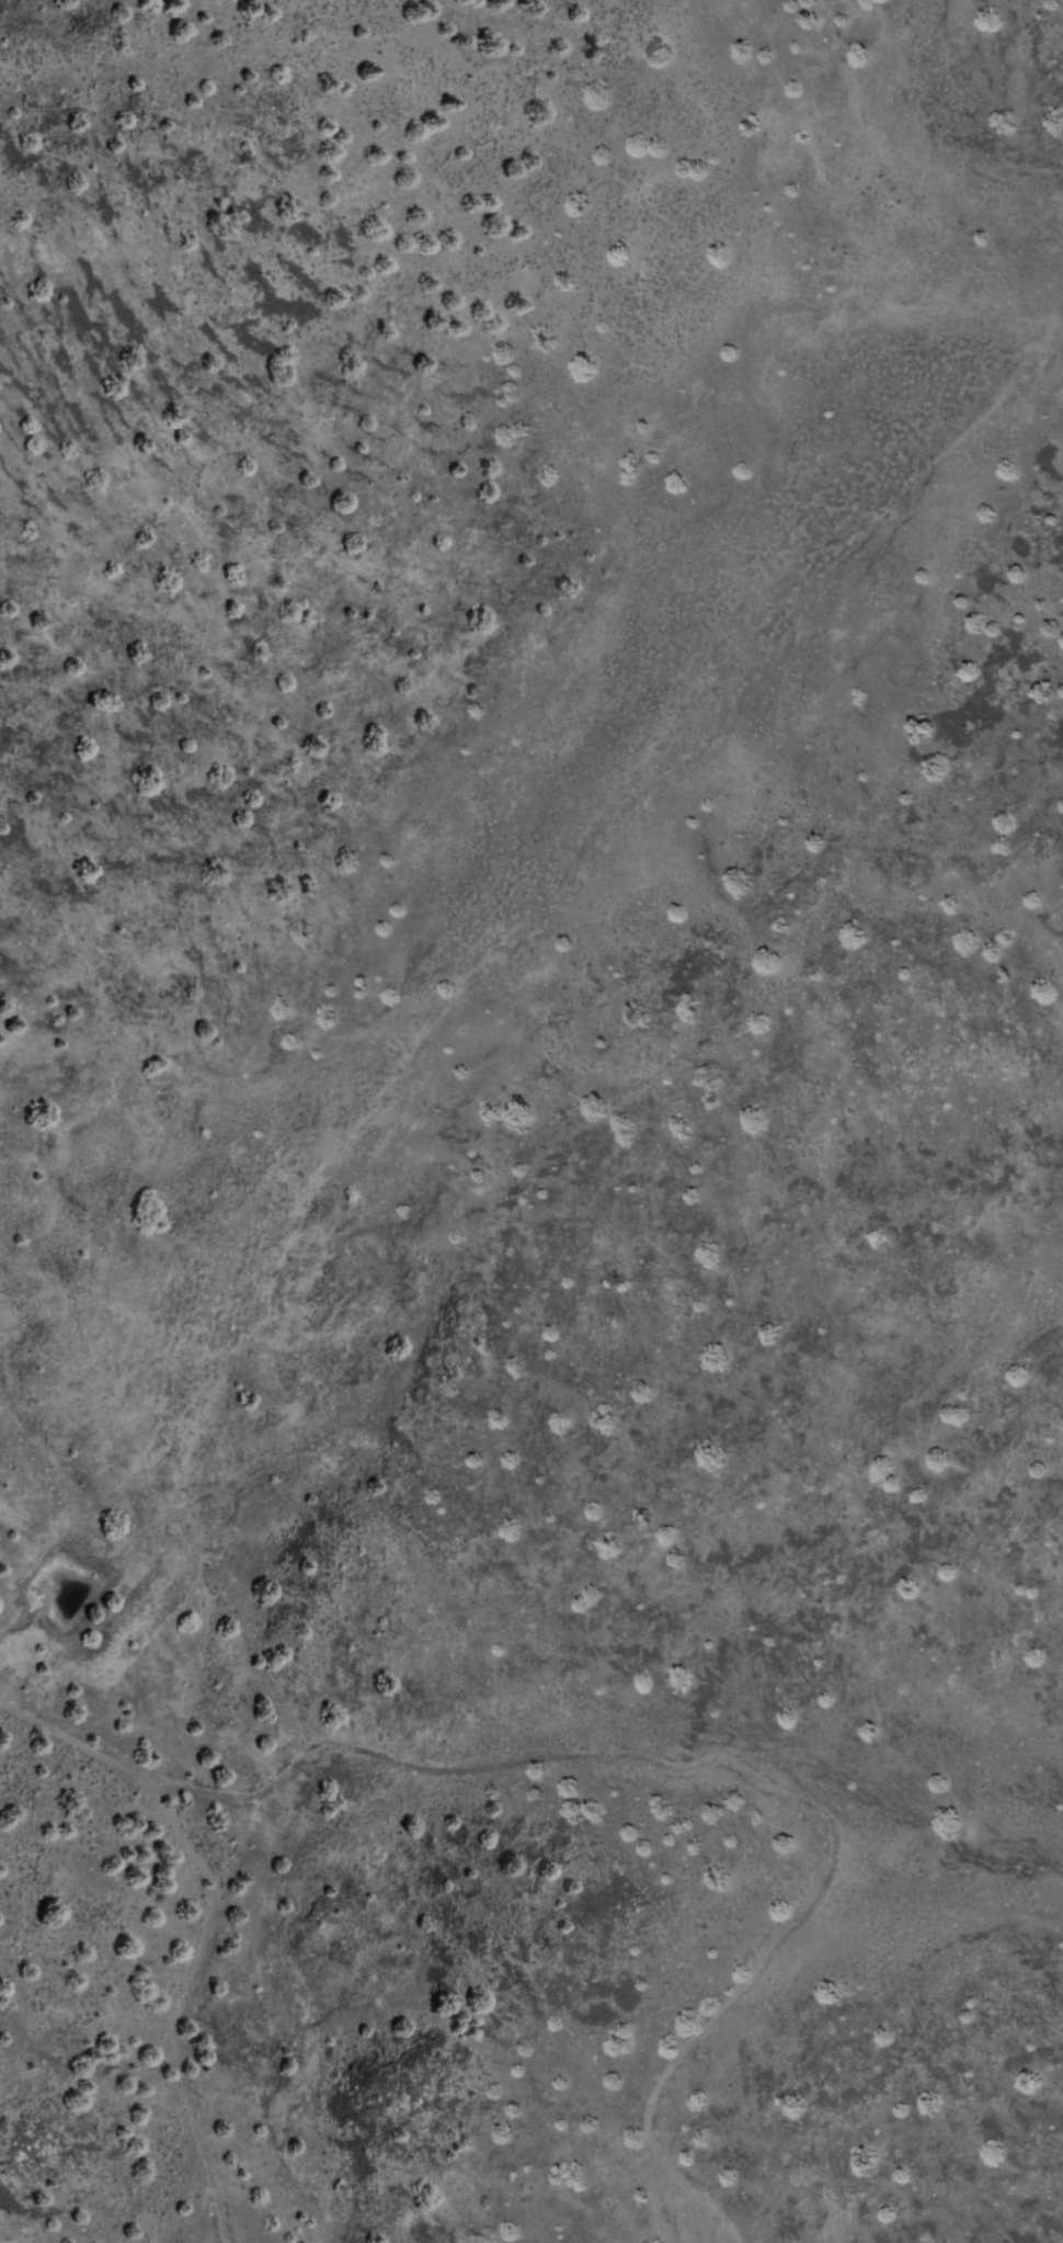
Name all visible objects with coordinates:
road: (212, 1922)

